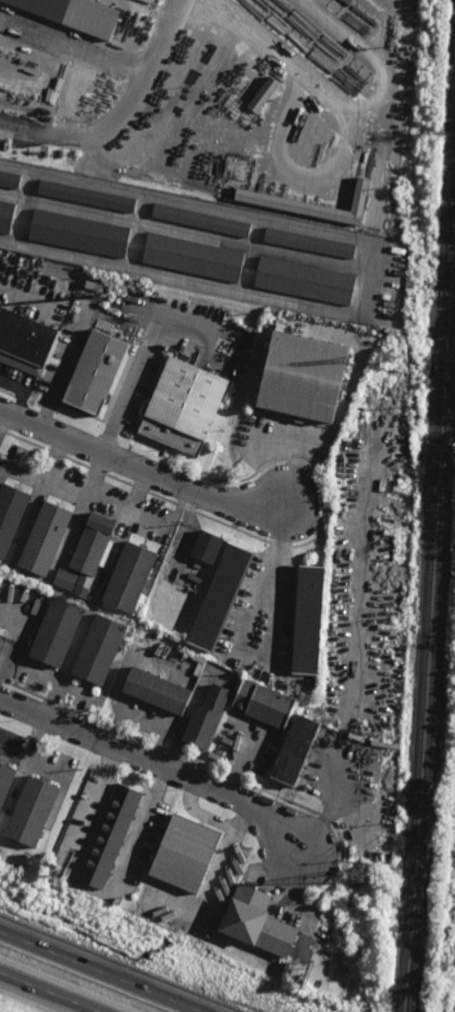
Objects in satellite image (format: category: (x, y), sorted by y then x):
building: (64, 16)
road: (342, 32)
road: (72, 52)
building: (264, 93)
road: (328, 97)
road: (121, 116)
road: (289, 174)
building: (10, 179)
building: (88, 195)
building: (313, 203)
building: (7, 216)
building: (203, 219)
building: (82, 233)
building: (310, 242)
building: (195, 256)
building: (306, 280)
building: (96, 286)
building: (26, 342)
power tower: (385, 359)
building: (98, 373)
building: (303, 376)
road: (56, 382)
road: (22, 393)
road: (119, 403)
building: (183, 406)
road: (2, 418)
road: (279, 445)
road: (142, 470)
road: (97, 474)
road: (141, 492)
road: (107, 501)
building: (11, 516)
building: (44, 538)
building: (207, 547)
building: (90, 549)
road: (270, 571)
railway: (428, 575)
building: (128, 576)
building: (65, 580)
building: (1, 589)
building: (219, 594)
building: (0, 599)
building: (36, 607)
building: (306, 618)
building: (55, 630)
railway: (432, 632)
building: (1, 636)
building: (98, 648)
building: (156, 690)
building: (262, 703)
building: (206, 717)
building: (369, 736)
building: (293, 748)
road: (155, 762)
building: (6, 782)
building: (318, 809)
building: (34, 811)
road: (330, 812)
building: (109, 836)
building: (342, 852)
building: (184, 854)
power tower: (356, 873)
road: (88, 888)
building: (257, 922)
road: (99, 971)
building: (454, 977)
road: (48, 992)

